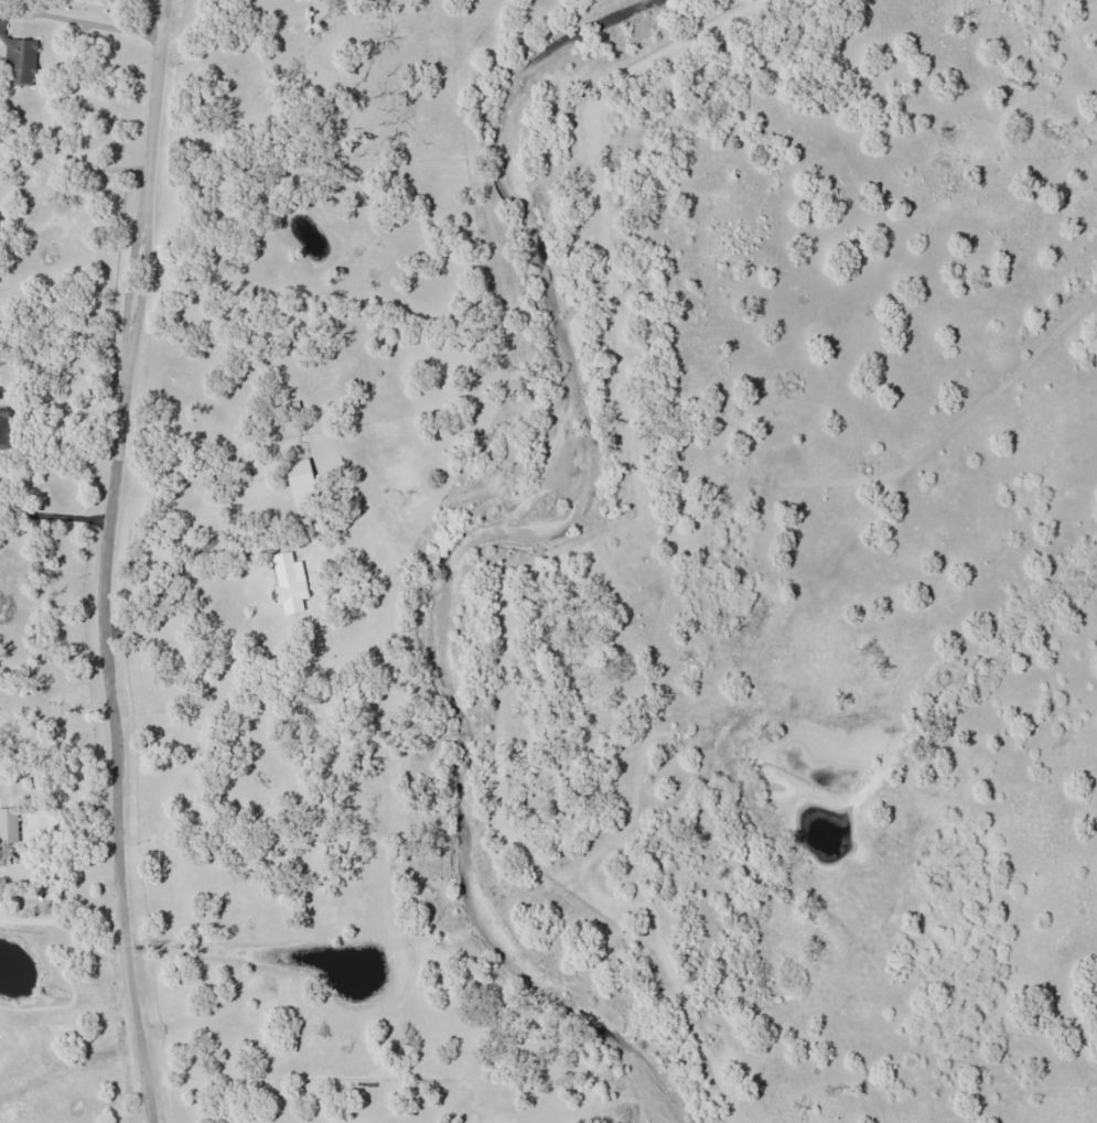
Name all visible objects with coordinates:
road: (1075, 303)
building: (3, 425)
building: (301, 479)
road: (114, 561)
building: (290, 582)
building: (9, 825)

